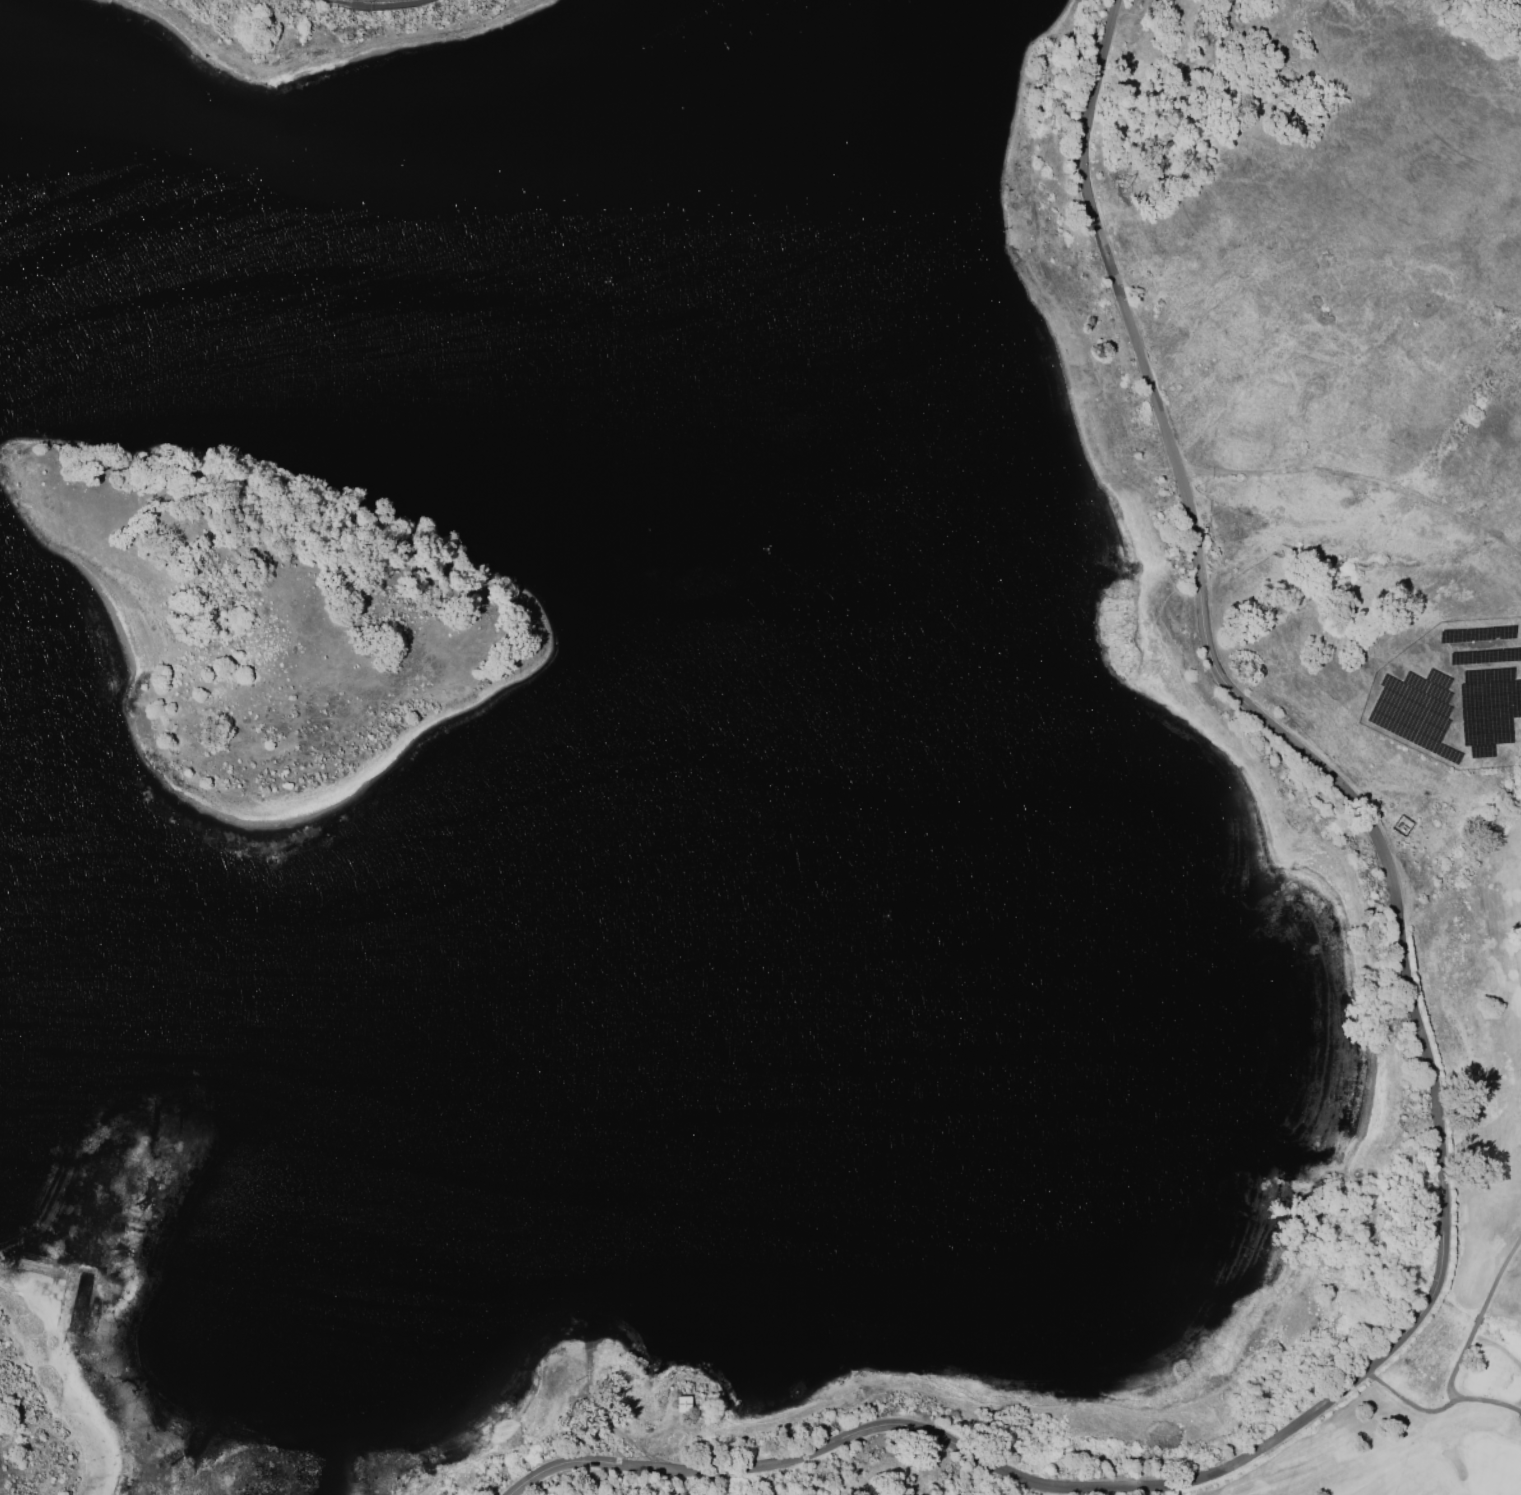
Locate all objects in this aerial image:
park: (1294, 330)
road: (1429, 1107)
park: (1488, 1137)
building: (681, 1403)
park: (737, 1471)

